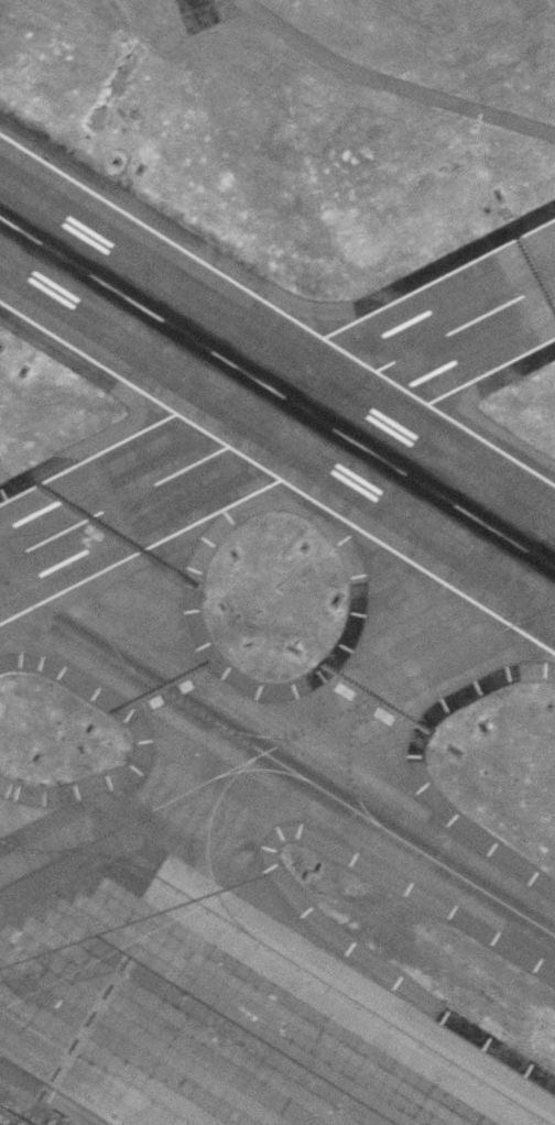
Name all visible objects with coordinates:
road: (128, 63)
road: (390, 83)
airport runway: (277, 394)
airport runway: (277, 423)
airport taxiway: (113, 499)
airport: (277, 562)
airport taxiway: (94, 581)
airport taxiway: (12, 591)
airport taxiway: (533, 616)
airport taxiway: (262, 734)
airport taxiway: (277, 745)
airport taxiway: (349, 751)
airport taxiway: (289, 767)
airport taxiway: (266, 768)
airport taxiway: (207, 848)
airport taxiway: (284, 957)
road: (197, 1008)
airport taxiway: (70, 1029)
airport apron: (188, 1031)

